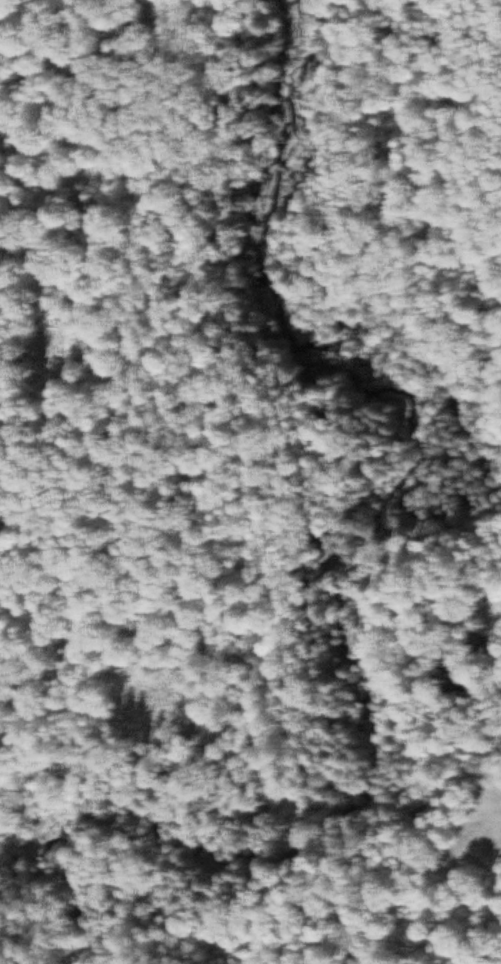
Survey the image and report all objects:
road: (437, 53)
building: (484, 637)

